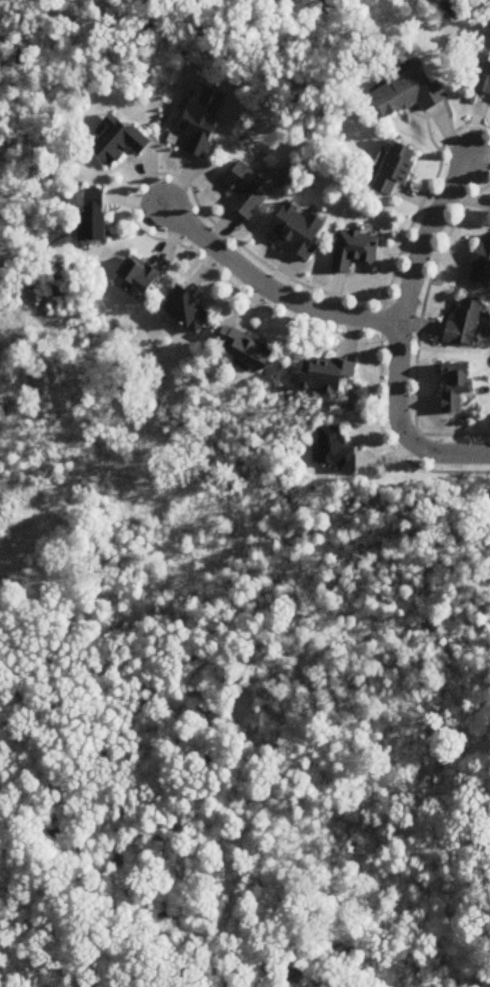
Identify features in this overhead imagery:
building: (483, 80)
building: (411, 94)
building: (204, 120)
building: (119, 142)
building: (396, 167)
building: (247, 190)
road: (132, 194)
building: (96, 216)
building: (298, 230)
building: (355, 251)
building: (482, 266)
building: (140, 276)
road: (271, 291)
road: (405, 294)
building: (187, 311)
road: (380, 318)
building: (465, 325)
road: (416, 333)
building: (246, 350)
building: (328, 376)
building: (456, 389)
road: (412, 436)
building: (336, 451)
road: (446, 456)
park: (245, 735)

